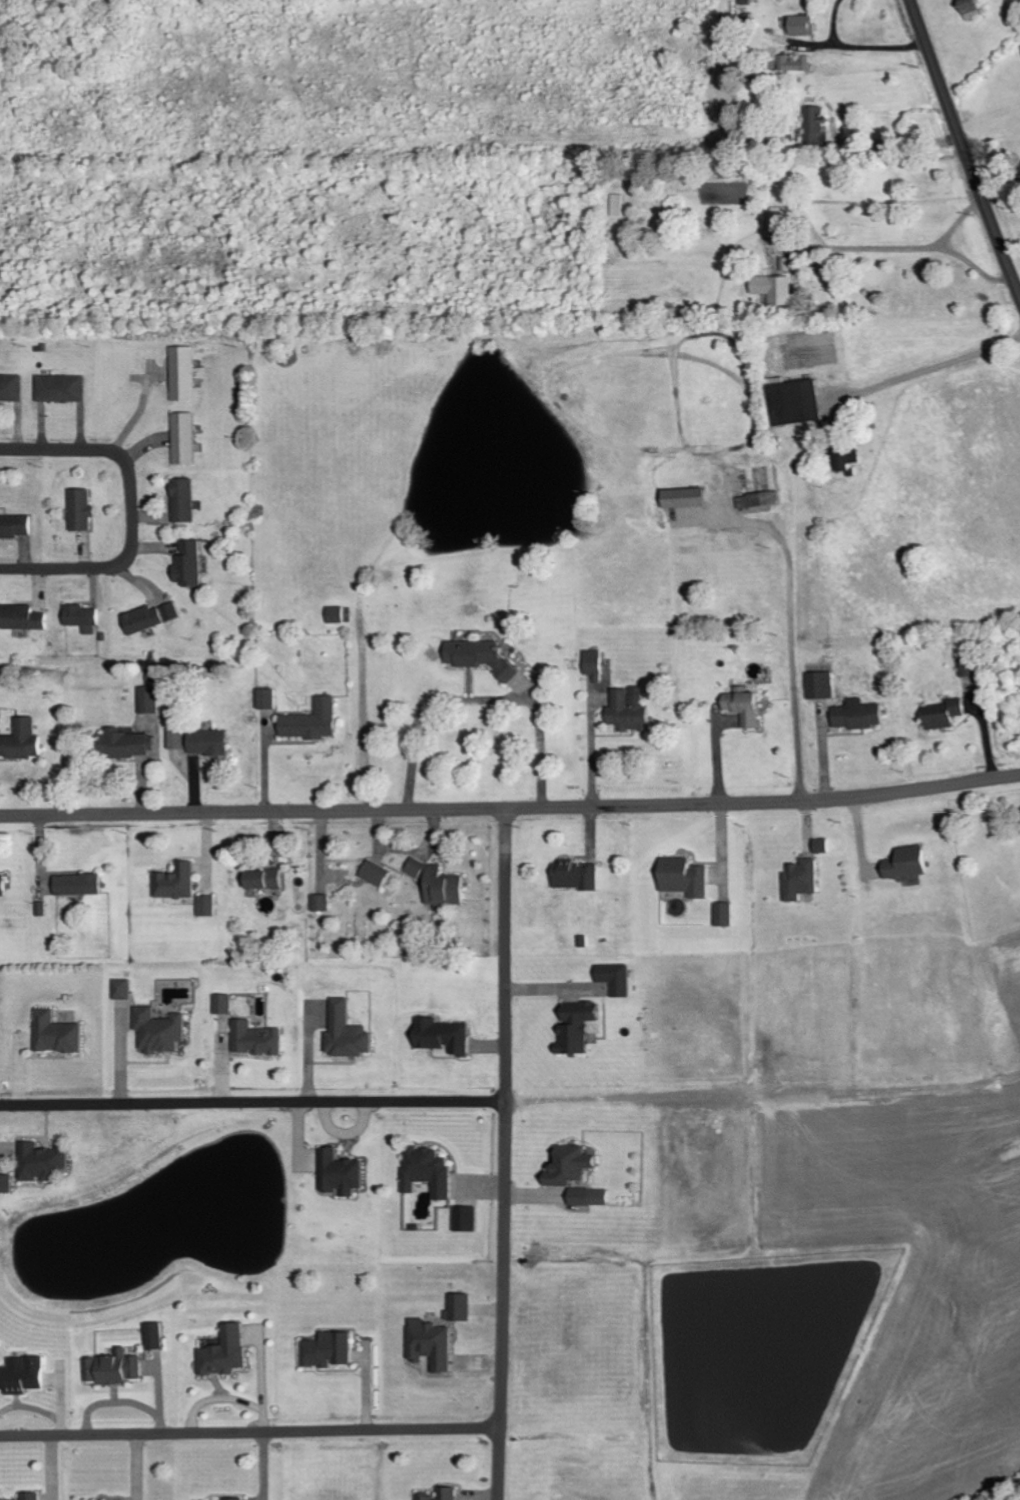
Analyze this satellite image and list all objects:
building: (971, 7)
building: (802, 26)
building: (795, 64)
building: (815, 126)
road: (964, 147)
building: (619, 205)
building: (782, 214)
building: (773, 289)
building: (183, 374)
road: (909, 377)
building: (11, 388)
building: (60, 388)
building: (796, 403)
building: (183, 439)
building: (846, 458)
building: (683, 497)
building: (758, 499)
building: (182, 500)
building: (79, 509)
road: (131, 510)
building: (13, 525)
building: (189, 563)
building: (336, 614)
building: (80, 617)
building: (149, 617)
building: (19, 618)
building: (479, 657)
building: (592, 664)
building: (820, 685)
building: (265, 698)
building: (148, 700)
building: (742, 705)
building: (627, 710)
building: (942, 714)
building: (857, 715)
building: (310, 721)
building: (20, 740)
building: (199, 741)
building: (124, 743)
road: (510, 808)
building: (822, 845)
building: (907, 863)
building: (374, 873)
building: (576, 876)
building: (684, 877)
building: (264, 879)
building: (801, 879)
building: (175, 882)
building: (437, 883)
building: (77, 884)
building: (3, 885)
building: (320, 902)
building: (206, 906)
building: (724, 914)
building: (614, 978)
building: (122, 989)
building: (225, 1004)
building: (44, 1017)
building: (575, 1026)
building: (158, 1031)
building: (344, 1032)
building: (441, 1036)
building: (257, 1039)
road: (253, 1101)
road: (506, 1154)
building: (41, 1162)
building: (566, 1165)
building: (425, 1171)
building: (340, 1173)
building: (5, 1184)
building: (586, 1197)
building: (464, 1219)
building: (451, 1307)
building: (462, 1307)
building: (153, 1336)
building: (430, 1344)
building: (328, 1350)
building: (224, 1353)
building: (114, 1369)
building: (22, 1375)
road: (250, 1431)
building: (29, 1496)
building: (234, 1499)

